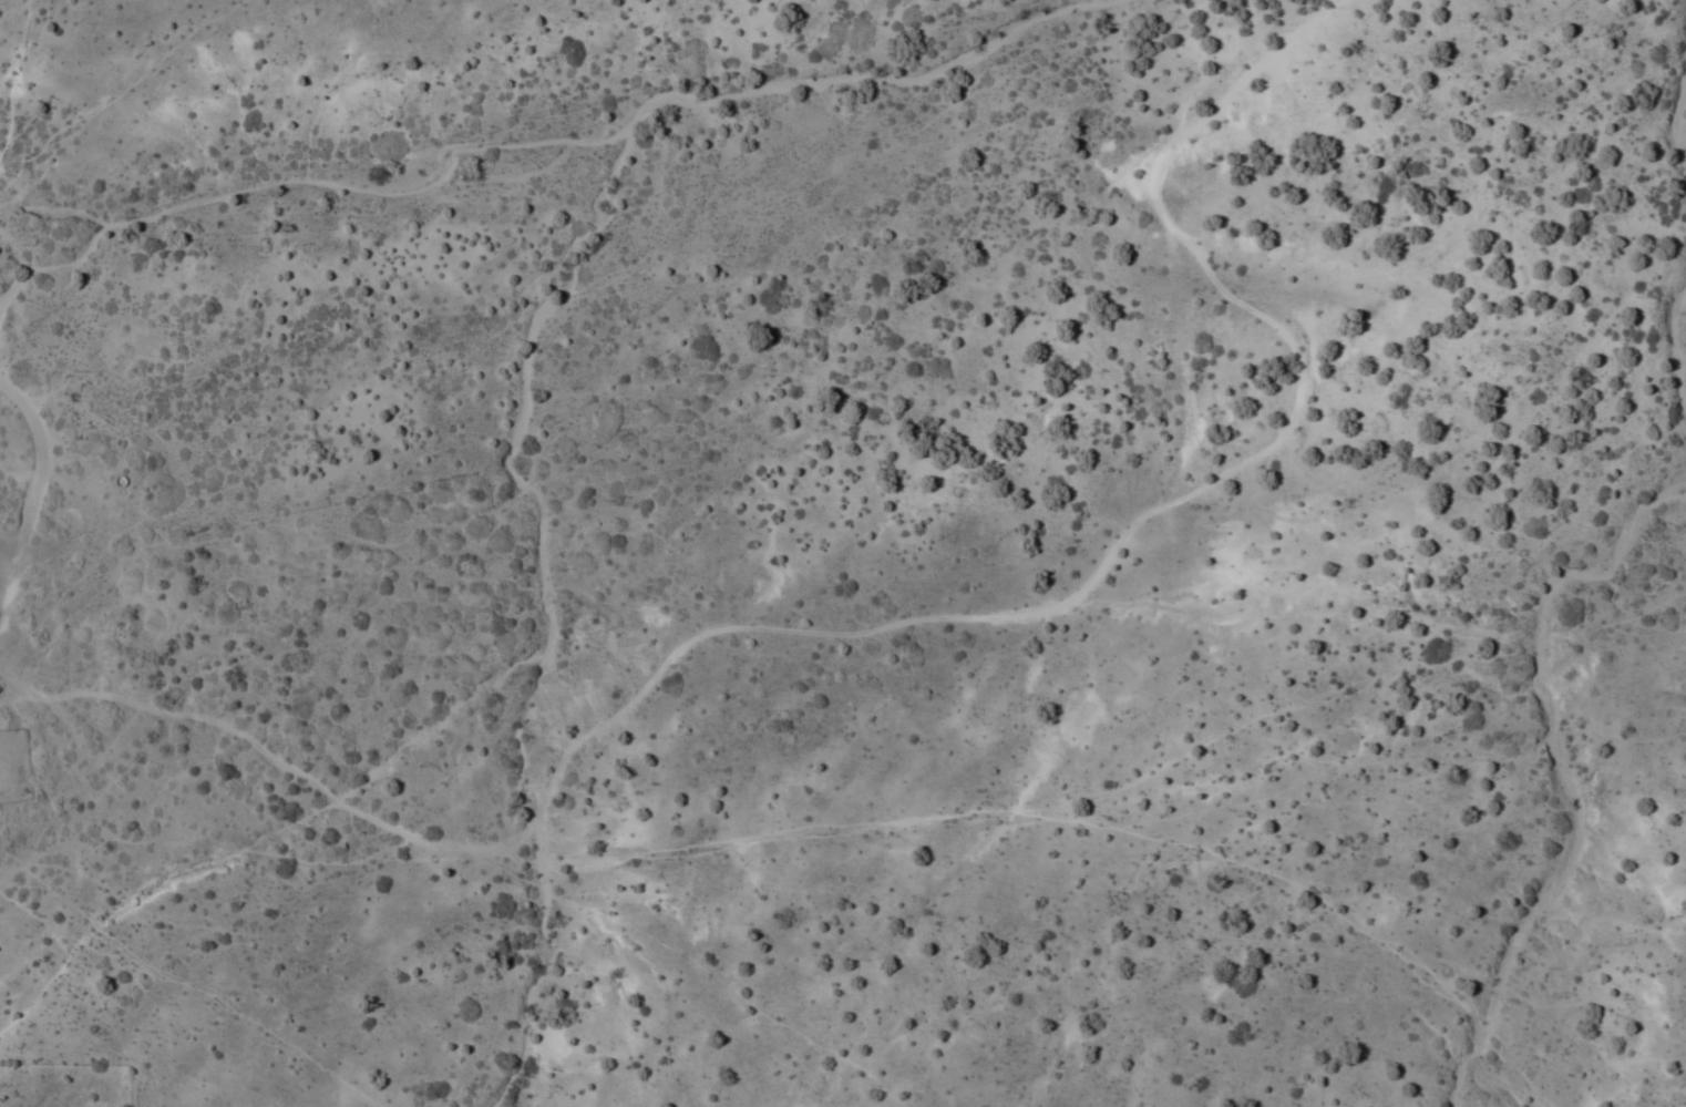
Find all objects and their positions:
road: (38, 480)
road: (841, 542)
building: (12, 593)
road: (7, 595)

